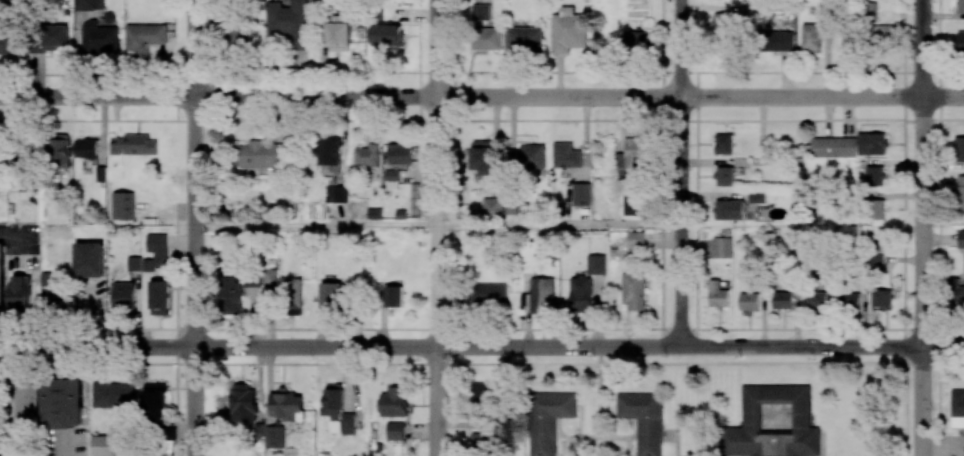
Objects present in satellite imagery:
building: (89, 4)
building: (960, 6)
building: (481, 12)
building: (109, 18)
building: (290, 22)
building: (725, 22)
building: (569, 30)
building: (236, 32)
building: (339, 33)
building: (883, 34)
building: (387, 35)
building: (144, 37)
building: (49, 38)
building: (99, 38)
building: (489, 38)
building: (525, 38)
building: (812, 38)
building: (639, 39)
building: (777, 40)
building: (961, 42)
building: (7, 43)
road: (481, 72)
road: (943, 95)
road: (461, 96)
building: (724, 144)
building: (872, 144)
building: (133, 145)
building: (833, 147)
building: (86, 148)
building: (959, 149)
building: (60, 153)
building: (399, 153)
building: (636, 153)
building: (261, 154)
building: (367, 155)
building: (566, 155)
building: (330, 156)
building: (482, 157)
building: (527, 157)
road: (923, 172)
road: (683, 173)
building: (391, 175)
building: (724, 176)
building: (875, 176)
building: (960, 192)
building: (336, 193)
building: (581, 194)
building: (633, 197)
building: (756, 197)
building: (123, 205)
building: (510, 205)
building: (492, 206)
building: (729, 209)
building: (876, 209)
road: (560, 225)
road: (316, 227)
road: (438, 227)
road: (194, 228)
building: (961, 239)
building: (635, 243)
building: (158, 247)
building: (722, 247)
building: (89, 259)
building: (876, 259)
building: (134, 263)
building: (596, 264)
building: (271, 277)
building: (2, 278)
building: (252, 280)
building: (635, 291)
building: (20, 292)
building: (958, 292)
building: (489, 293)
building: (581, 294)
building: (124, 295)
building: (232, 295)
building: (718, 295)
building: (291, 296)
building: (394, 296)
building: (539, 296)
building: (159, 297)
building: (332, 297)
building: (881, 298)
building: (783, 299)
building: (816, 300)
building: (749, 301)
building: (849, 301)
road: (943, 345)
road: (461, 346)
building: (484, 392)
building: (114, 394)
building: (156, 401)
road: (923, 401)
building: (393, 402)
building: (64, 403)
building: (244, 404)
building: (286, 404)
building: (25, 405)
building: (0, 406)
building: (957, 408)
building: (337, 410)
building: (548, 419)
building: (644, 420)
building: (772, 423)
building: (395, 430)
building: (274, 436)
building: (479, 441)
building: (105, 445)

